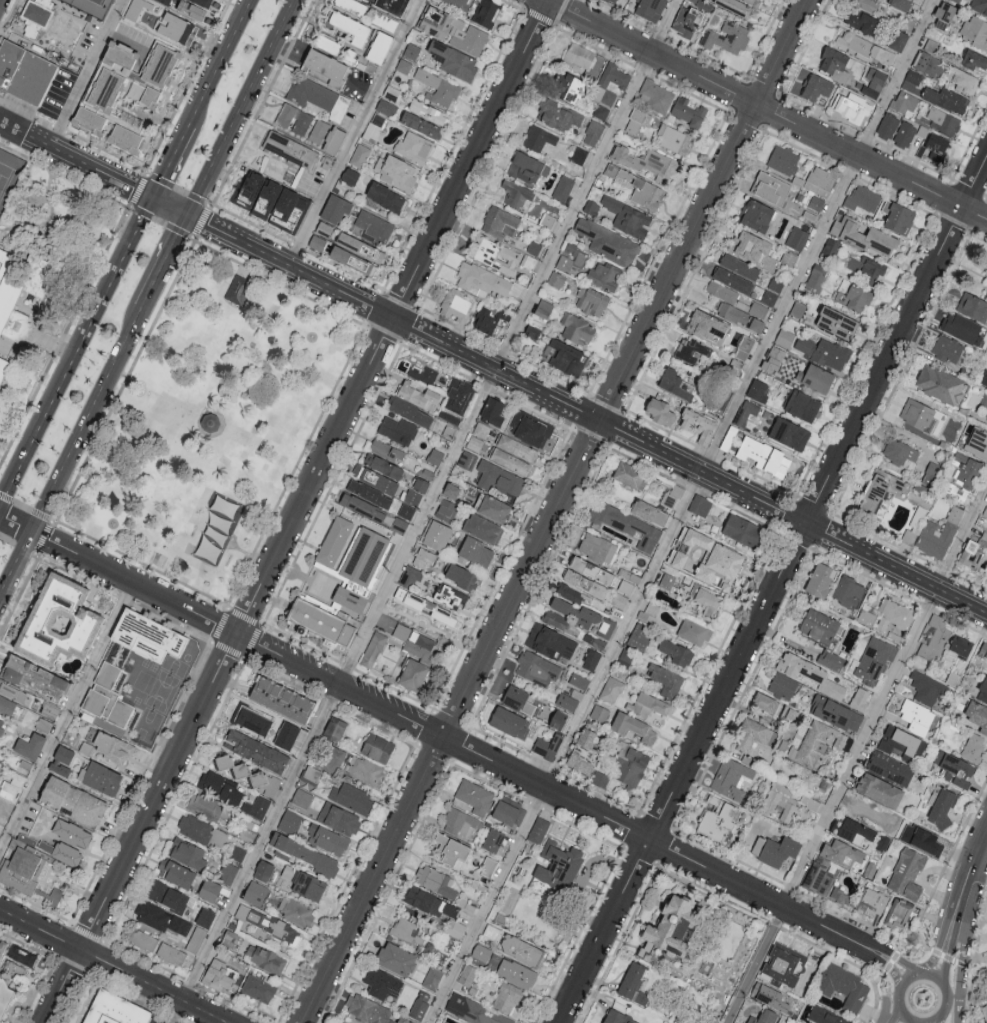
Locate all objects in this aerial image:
building: (958, 0)
building: (167, 1)
building: (614, 1)
building: (203, 2)
building: (754, 2)
building: (458, 3)
building: (900, 3)
building: (866, 4)
building: (393, 5)
building: (979, 5)
park: (93, 6)
building: (352, 6)
building: (191, 8)
building: (650, 9)
building: (737, 9)
building: (142, 12)
building: (486, 12)
building: (944, 14)
building: (37, 15)
building: (686, 20)
building: (351, 26)
building: (177, 27)
building: (453, 30)
building: (976, 30)
building: (726, 37)
building: (898, 39)
building: (379, 46)
building: (932, 46)
building: (867, 47)
building: (411, 50)
building: (454, 59)
building: (585, 59)
building: (975, 60)
road: (219, 61)
building: (836, 63)
building: (159, 64)
building: (929, 64)
building: (404, 65)
building: (324, 67)
building: (24, 73)
road: (87, 73)
building: (111, 73)
building: (963, 79)
building: (912, 80)
building: (873, 82)
building: (603, 84)
building: (816, 86)
building: (438, 87)
building: (568, 87)
building: (143, 93)
building: (656, 95)
building: (318, 96)
building: (947, 99)
building: (904, 102)
building: (386, 106)
road: (244, 107)
building: (854, 107)
road: (767, 109)
building: (427, 110)
building: (689, 111)
building: (285, 114)
building: (557, 114)
building: (88, 118)
building: (635, 120)
building: (944, 121)
building: (302, 122)
building: (421, 124)
building: (888, 125)
building: (374, 127)
building: (318, 130)
road: (355, 132)
building: (593, 132)
building: (905, 134)
building: (125, 136)
building: (539, 138)
building: (673, 138)
building: (333, 139)
building: (933, 146)
building: (414, 147)
building: (289, 148)
building: (578, 154)
building: (359, 155)
building: (784, 159)
road: (171, 160)
building: (648, 163)
building: (527, 166)
building: (398, 172)
park: (8, 173)
building: (349, 175)
building: (820, 180)
building: (563, 187)
building: (639, 187)
building: (771, 188)
building: (248, 189)
building: (517, 194)
traffic signals: (153, 197)
building: (387, 197)
building: (266, 198)
building: (863, 198)
building: (816, 202)
building: (591, 206)
building: (336, 208)
building: (288, 209)
building: (756, 214)
traffic signals: (190, 215)
building: (898, 216)
building: (628, 217)
building: (498, 220)
building: (324, 228)
building: (863, 235)
building: (796, 237)
building: (607, 241)
building: (317, 242)
building: (360, 246)
building: (534, 247)
building: (830, 247)
building: (753, 248)
building: (495, 254)
building: (571, 257)
building: (352, 260)
road: (166, 262)
building: (739, 266)
building: (865, 268)
building: (603, 275)
building: (816, 278)
building: (481, 279)
building: (556, 279)
building: (733, 279)
building: (985, 281)
building: (776, 284)
building: (239, 286)
building: (722, 291)
building: (852, 295)
building: (9, 296)
building: (769, 297)
building: (592, 301)
building: (455, 304)
building: (973, 306)
building: (543, 308)
building: (798, 309)
building: (742, 312)
building: (486, 321)
building: (837, 322)
building: (757, 324)
building: (708, 326)
building: (964, 328)
building: (577, 329)
building: (532, 331)
building: (785, 337)
building: (744, 347)
building: (948, 348)
road: (76, 350)
building: (693, 350)
building: (824, 351)
road: (493, 366)
building: (423, 373)
building: (3, 374)
building: (984, 377)
building: (816, 378)
building: (940, 383)
building: (676, 384)
building: (758, 390)
building: (418, 394)
building: (457, 400)
building: (803, 405)
building: (747, 409)
building: (493, 411)
building: (660, 411)
building: (412, 412)
building: (922, 416)
park: (205, 423)
building: (698, 424)
building: (398, 429)
building: (481, 429)
building: (531, 429)
building: (789, 433)
building: (730, 437)
building: (978, 442)
building: (475, 443)
building: (517, 447)
building: (387, 450)
building: (899, 451)
road: (70, 454)
building: (764, 456)
building: (510, 461)
building: (383, 465)
building: (930, 473)
building: (628, 474)
building: (963, 475)
building: (375, 478)
building: (500, 478)
building: (881, 489)
building: (451, 490)
building: (416, 491)
building: (369, 493)
building: (672, 496)
building: (700, 505)
building: (362, 506)
building: (494, 508)
building: (446, 510)
road: (295, 511)
building: (406, 511)
road: (557, 511)
road: (682, 511)
building: (649, 512)
building: (986, 512)
road: (427, 513)
building: (399, 524)
building: (626, 525)
building: (483, 528)
building: (743, 530)
building: (436, 534)
building: (938, 535)
building: (908, 536)
building: (382, 542)
building: (688, 544)
building: (338, 545)
building: (597, 547)
building: (476, 551)
building: (974, 551)
building: (425, 556)
building: (722, 565)
building: (591, 569)
building: (411, 576)
building: (461, 576)
building: (820, 579)
building: (585, 583)
road: (773, 591)
building: (848, 591)
building: (570, 593)
building: (451, 596)
building: (350, 598)
building: (619, 600)
building: (708, 602)
building: (649, 612)
building: (577, 613)
building: (444, 616)
building: (894, 619)
building: (58, 621)
building: (559, 622)
building: (385, 623)
building: (321, 624)
building: (606, 627)
building: (401, 631)
building: (694, 631)
building: (147, 636)
building: (639, 636)
building: (824, 636)
building: (934, 639)
building: (551, 642)
building: (419, 645)
building: (960, 645)
building: (373, 649)
building: (983, 649)
building: (677, 652)
building: (625, 658)
building: (591, 659)
building: (873, 659)
building: (537, 668)
building: (413, 674)
building: (34, 677)
building: (666, 680)
building: (783, 685)
building: (927, 688)
building: (612, 689)
building: (12, 691)
building: (983, 691)
building: (107, 696)
building: (519, 699)
building: (860, 699)
building: (281, 700)
building: (567, 701)
building: (765, 702)
building: (6, 705)
building: (649, 705)
building: (49, 709)
road: (391, 710)
building: (599, 712)
building: (836, 713)
road: (65, 714)
building: (977, 714)
building: (919, 717)
building: (655, 718)
building: (559, 719)
building: (253, 720)
building: (510, 722)
building: (634, 727)
building: (1, 728)
building: (334, 728)
building: (286, 735)
building: (754, 737)
building: (899, 742)
building: (816, 743)
building: (29, 745)
building: (112, 746)
building: (548, 746)
building: (378, 747)
building: (974, 747)
building: (256, 750)
building: (584, 752)
road: (855, 756)
building: (332, 758)
building: (61, 761)
building: (232, 765)
building: (630, 765)
building: (890, 768)
building: (954, 769)
building: (365, 770)
building: (312, 773)
building: (100, 778)
building: (258, 778)
building: (600, 779)
building: (732, 779)
building: (11, 787)
building: (221, 788)
building: (879, 790)
building: (475, 796)
building: (351, 797)
building: (301, 798)
building: (72, 801)
building: (781, 801)
building: (809, 802)
building: (259, 806)
building: (209, 807)
building: (943, 807)
building: (509, 812)
building: (339, 818)
building: (717, 818)
building: (290, 821)
building: (460, 822)
building: (538, 830)
building: (906, 830)
building: (202, 831)
building: (71, 833)
building: (857, 833)
building: (327, 839)
building: (493, 840)
building: (936, 842)
road: (978, 847)
building: (451, 849)
building: (775, 850)
building: (842, 851)
building: (62, 852)
building: (237, 852)
building: (187, 853)
building: (304, 853)
building: (488, 866)
building: (558, 866)
building: (263, 870)
building: (175, 873)
building: (228, 873)
building: (907, 873)
building: (27, 875)
building: (819, 878)
building: (436, 881)
building: (308, 886)
building: (209, 890)
building: (255, 893)
building: (839, 895)
building: (167, 896)
building: (429, 902)
building: (871, 902)
building: (505, 908)
building: (297, 912)
building: (898, 913)
building: (205, 917)
building: (160, 918)
road: (813, 921)
road: (949, 922)
building: (268, 924)
road: (956, 926)
building: (673, 927)
building: (454, 928)
building: (407, 931)
building: (492, 931)
building: (196, 939)
building: (142, 940)
building: (230, 940)
road: (964, 945)
building: (2, 947)
building: (521, 949)
road: (883, 950)
building: (481, 952)
building: (171, 954)
building: (21, 955)
road: (876, 957)
building: (265, 958)
building: (396, 959)
building: (784, 964)
road: (111, 966)
building: (511, 970)
building: (221, 974)
building: (467, 974)
building: (432, 978)
building: (383, 984)
building: (633, 984)
building: (843, 985)
building: (258, 988)
building: (985, 989)
building: (5, 995)
building: (769, 996)
road: (898, 997)
building: (507, 998)
building: (367, 1009)
building: (419, 1009)
building: (116, 1010)
building: (475, 1011)
building: (985, 1012)
road: (895, 1015)
building: (826, 1016)
building: (618, 1017)
building: (764, 1017)
building: (404, 1020)
road: (938, 1020)
building: (342, 1022)

